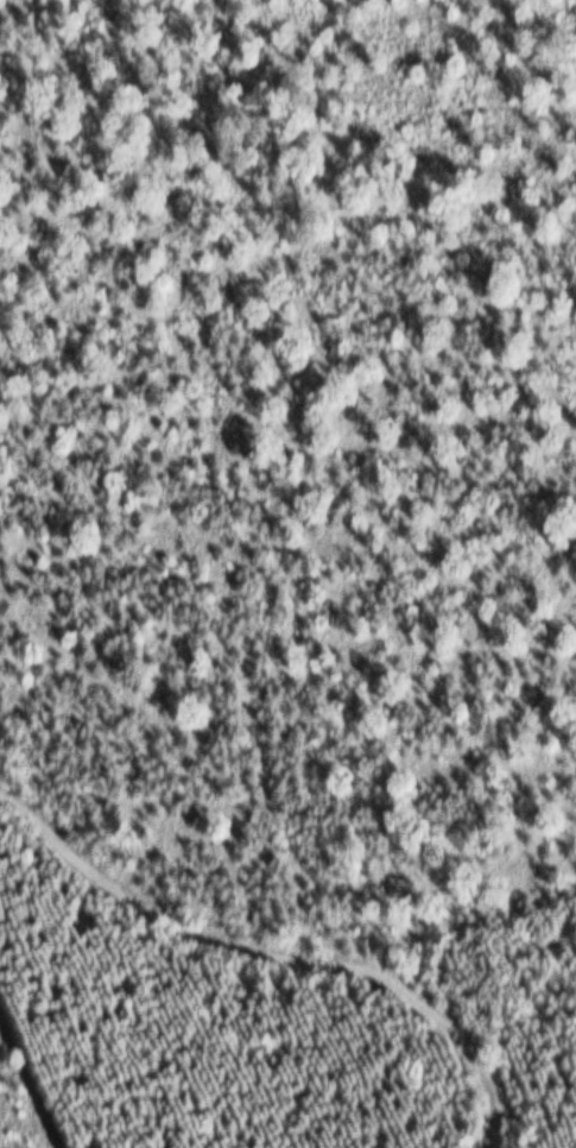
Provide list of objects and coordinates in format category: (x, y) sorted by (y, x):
road: (260, 925)

